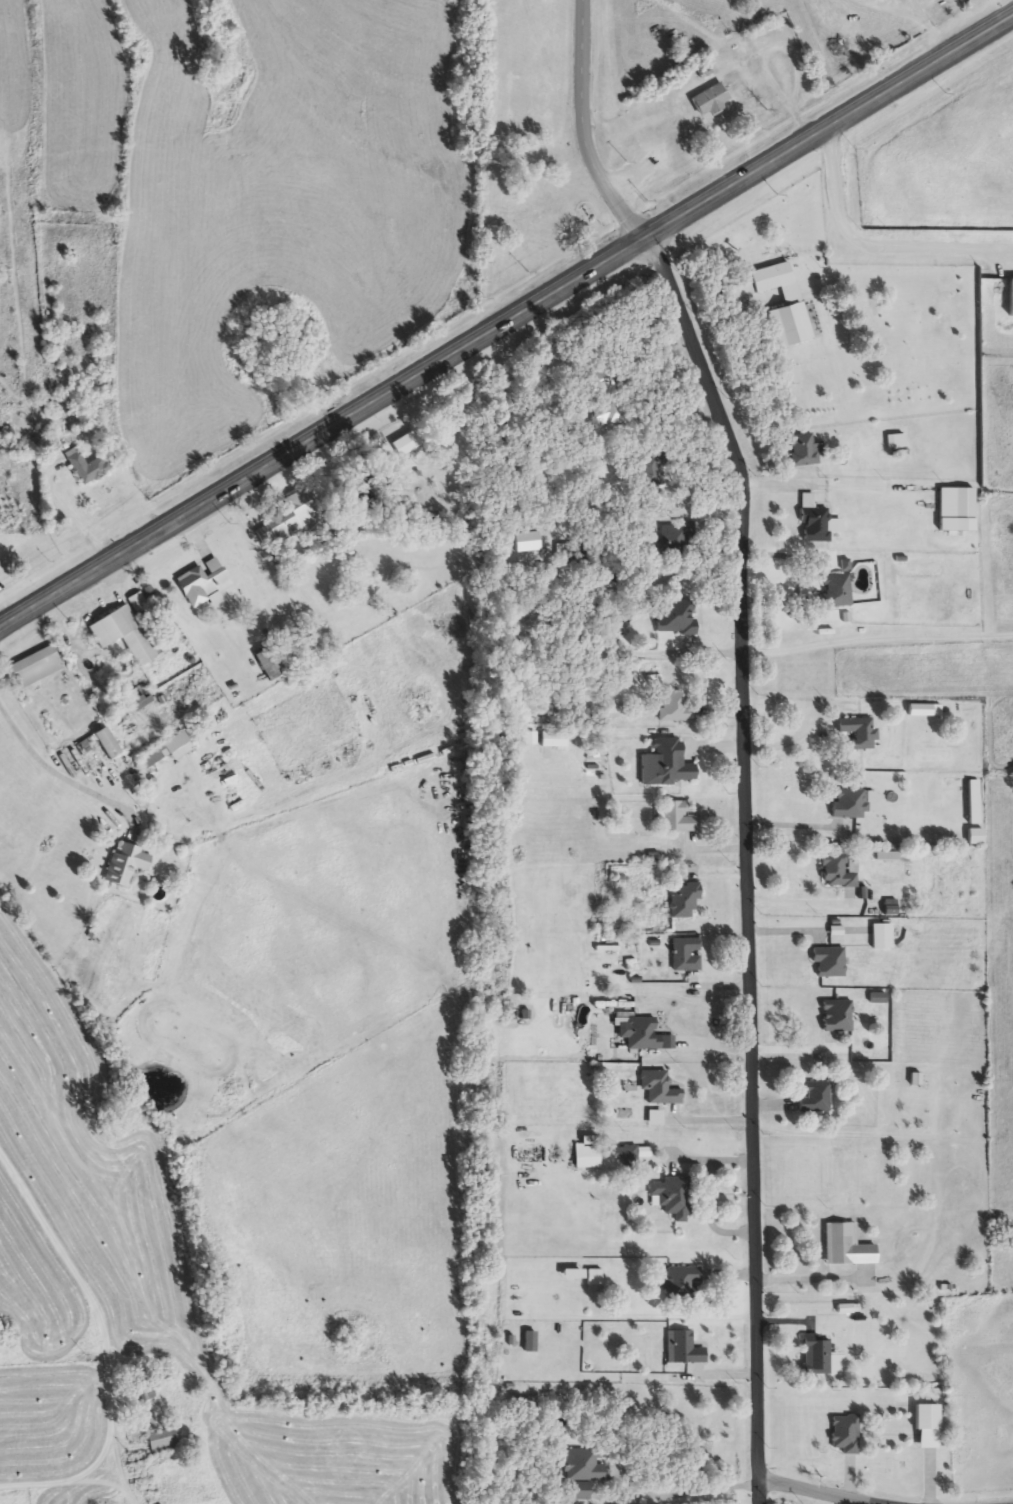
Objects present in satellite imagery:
road: (912, 7)
road: (887, 9)
road: (933, 36)
road: (766, 61)
building: (711, 101)
road: (579, 130)
road: (876, 250)
building: (772, 278)
road: (505, 325)
building: (789, 325)
building: (605, 414)
building: (405, 445)
building: (803, 451)
building: (86, 467)
building: (956, 504)
building: (289, 520)
building: (816, 524)
building: (676, 538)
building: (564, 552)
building: (204, 584)
building: (835, 592)
building: (677, 617)
building: (132, 636)
road: (877, 643)
road: (686, 653)
building: (270, 663)
building: (33, 669)
building: (139, 699)
building: (674, 708)
building: (920, 711)
building: (859, 733)
road: (790, 741)
building: (87, 745)
building: (166, 752)
building: (665, 764)
road: (56, 779)
building: (849, 804)
building: (675, 818)
road: (796, 825)
road: (746, 863)
building: (126, 865)
building: (837, 872)
building: (683, 900)
road: (796, 903)
building: (881, 936)
building: (685, 955)
building: (829, 962)
building: (836, 1016)
building: (645, 1036)
road: (799, 1048)
building: (658, 1089)
building: (815, 1098)
building: (625, 1156)
building: (671, 1197)
building: (846, 1246)
building: (594, 1277)
building: (682, 1282)
road: (102, 1315)
building: (529, 1342)
building: (682, 1349)
building: (816, 1355)
building: (142, 1391)
building: (926, 1417)
building: (844, 1435)
building: (162, 1441)
building: (583, 1465)
road: (65, 1478)
road: (817, 1493)
road: (690, 1494)

